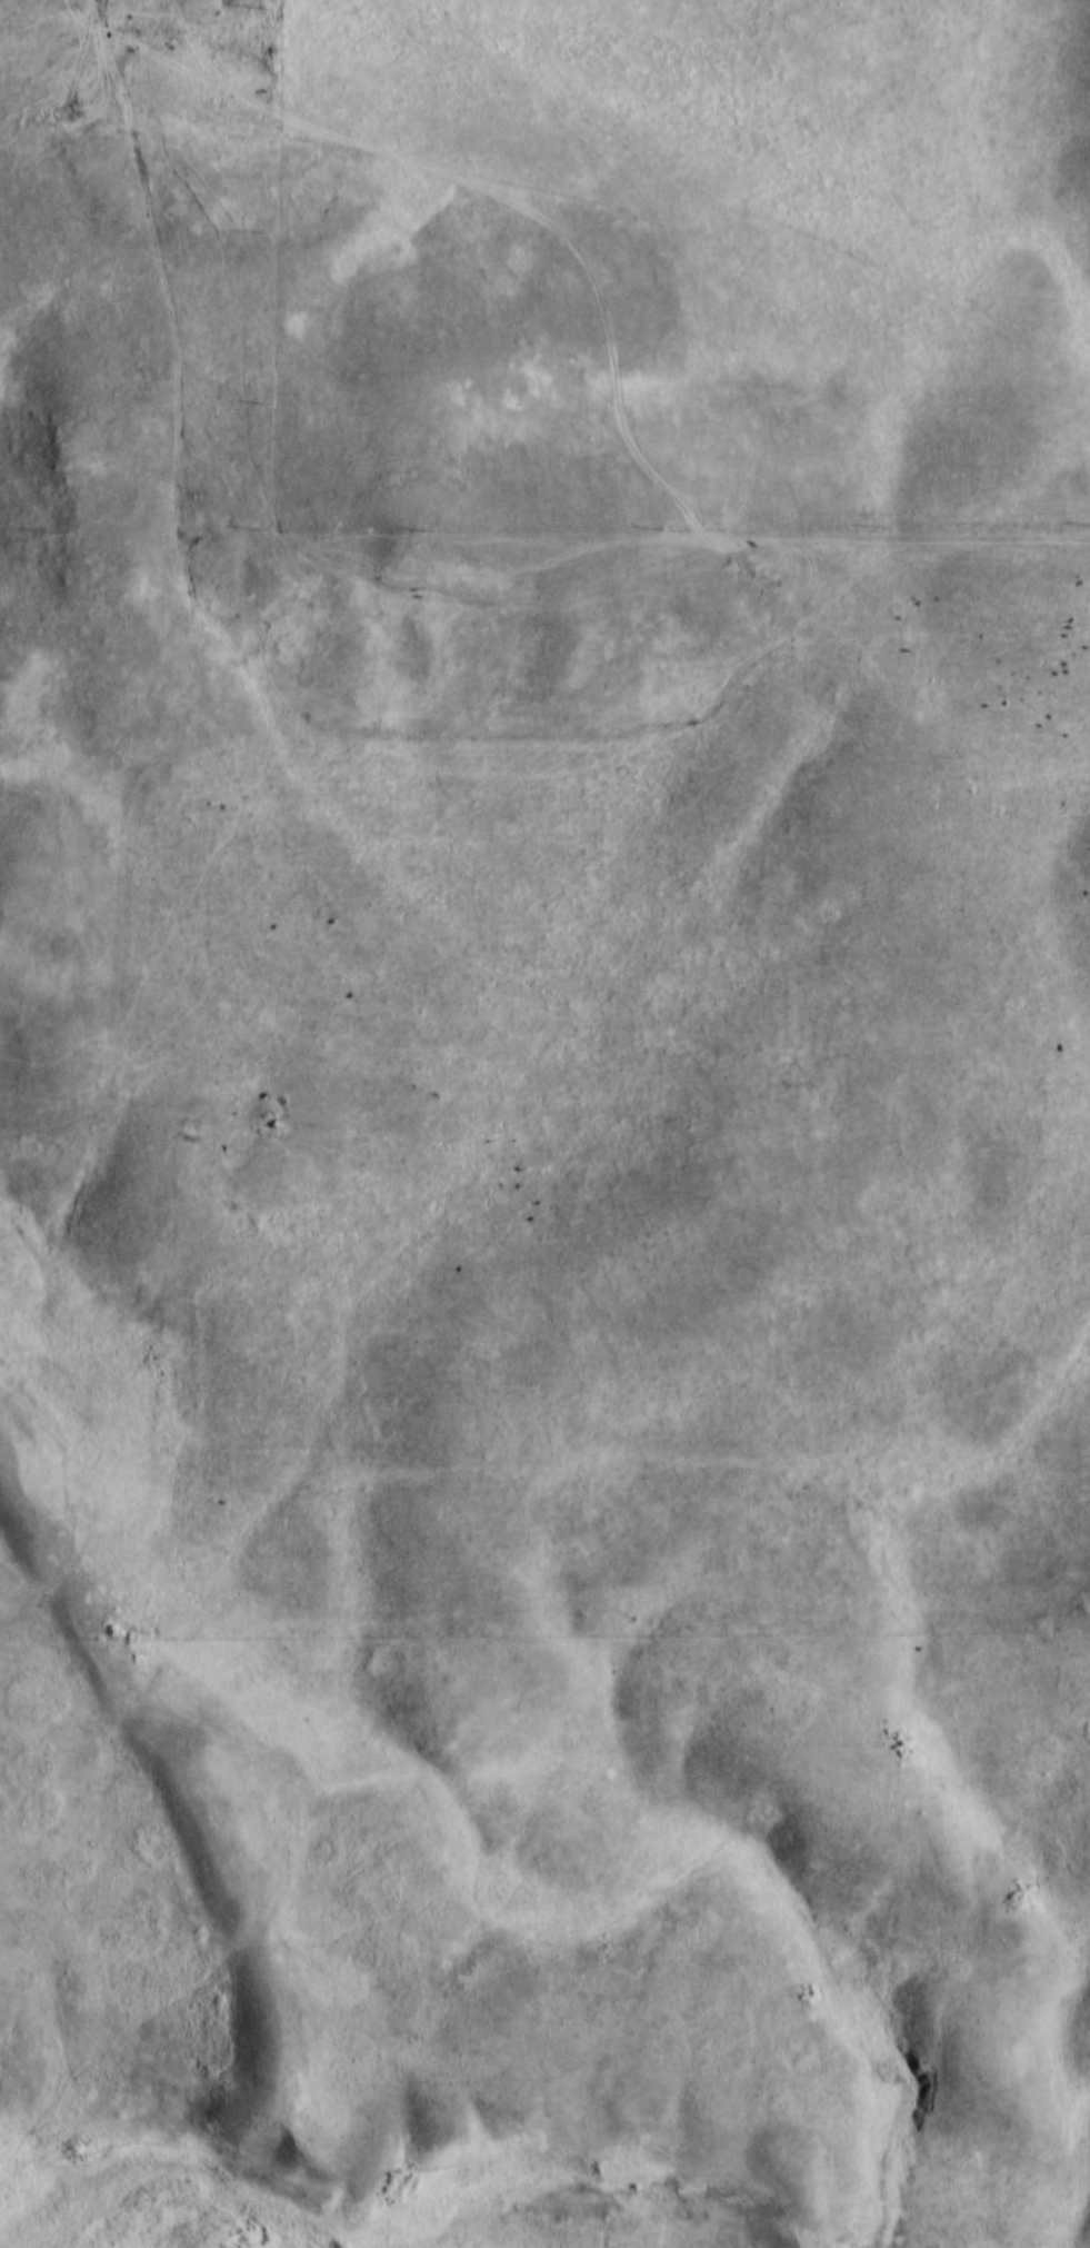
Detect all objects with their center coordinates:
road: (594, 284)
building: (276, 1116)

